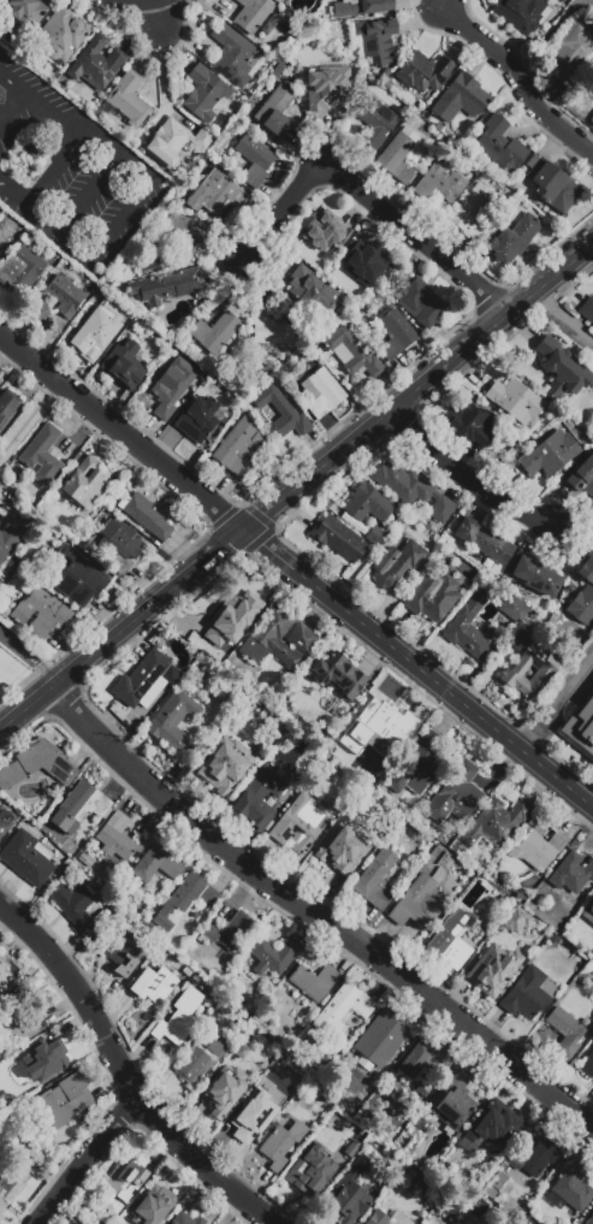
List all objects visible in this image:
building: (361, 6)
building: (522, 13)
building: (251, 14)
building: (25, 17)
road: (161, 18)
building: (60, 36)
building: (376, 41)
building: (571, 52)
building: (232, 54)
building: (96, 64)
building: (422, 71)
road: (515, 75)
building: (315, 79)
building: (204, 93)
building: (128, 99)
building: (461, 99)
road: (12, 104)
building: (275, 111)
building: (592, 118)
building: (374, 125)
road: (78, 129)
building: (174, 142)
building: (502, 144)
building: (398, 154)
building: (254, 160)
building: (25, 162)
parking lot: (71, 171)
building: (439, 182)
building: (553, 185)
building: (217, 193)
road: (12, 194)
road: (88, 195)
road: (367, 196)
building: (472, 215)
road: (123, 224)
building: (326, 230)
building: (185, 235)
building: (512, 240)
building: (356, 254)
building: (20, 268)
building: (362, 268)
building: (167, 285)
building: (312, 289)
building: (65, 295)
building: (421, 303)
building: (587, 308)
building: (42, 312)
road: (563, 315)
building: (99, 329)
building: (271, 329)
building: (214, 332)
building: (395, 335)
building: (351, 354)
building: (121, 365)
building: (542, 369)
building: (582, 382)
road: (419, 384)
building: (171, 386)
building: (321, 392)
building: (515, 400)
building: (6, 406)
building: (280, 412)
building: (201, 419)
road: (29, 422)
building: (475, 422)
road: (121, 433)
building: (237, 447)
building: (42, 454)
building: (550, 454)
building: (583, 477)
road: (468, 479)
building: (83, 484)
building: (411, 490)
building: (368, 504)
building: (144, 515)
building: (11, 536)
building: (378, 537)
building: (338, 538)
building: (482, 542)
building: (592, 542)
building: (120, 544)
building: (398, 563)
building: (77, 576)
building: (536, 576)
building: (582, 592)
building: (432, 596)
building: (232, 604)
building: (514, 608)
building: (40, 613)
building: (470, 627)
road: (121, 629)
building: (195, 631)
building: (301, 638)
building: (271, 641)
building: (520, 641)
road: (29, 656)
road: (419, 669)
building: (528, 672)
building: (338, 675)
building: (142, 681)
building: (291, 703)
road: (557, 706)
building: (172, 717)
building: (363, 726)
building: (581, 728)
building: (385, 749)
building: (37, 764)
building: (226, 764)
building: (415, 765)
building: (455, 794)
building: (257, 799)
building: (79, 808)
building: (496, 822)
building: (298, 823)
building: (4, 828)
building: (115, 839)
building: (541, 847)
building: (339, 853)
building: (28, 857)
building: (155, 867)
building: (571, 873)
building: (375, 880)
building: (185, 900)
building: (416, 904)
building: (75, 906)
building: (588, 913)
road: (314, 917)
building: (516, 920)
building: (227, 927)
building: (574, 933)
building: (451, 939)
building: (125, 953)
building: (272, 956)
building: (493, 970)
building: (4, 981)
building: (313, 981)
building: (152, 984)
building: (529, 994)
building: (343, 1009)
building: (179, 1017)
building: (17, 1029)
building: (567, 1033)
building: (380, 1040)
building: (241, 1051)
building: (200, 1059)
building: (46, 1060)
building: (420, 1060)
building: (588, 1069)
road: (123, 1076)
building: (226, 1088)
building: (64, 1100)
building: (452, 1101)
building: (247, 1120)
building: (496, 1124)
building: (281, 1142)
building: (352, 1148)
building: (532, 1155)
road: (83, 1159)
building: (24, 1169)
building: (312, 1170)
building: (119, 1188)
building: (573, 1188)
building: (349, 1195)
building: (4, 1201)
building: (153, 1206)
building: (184, 1218)
building: (387, 1218)
building: (589, 1220)

